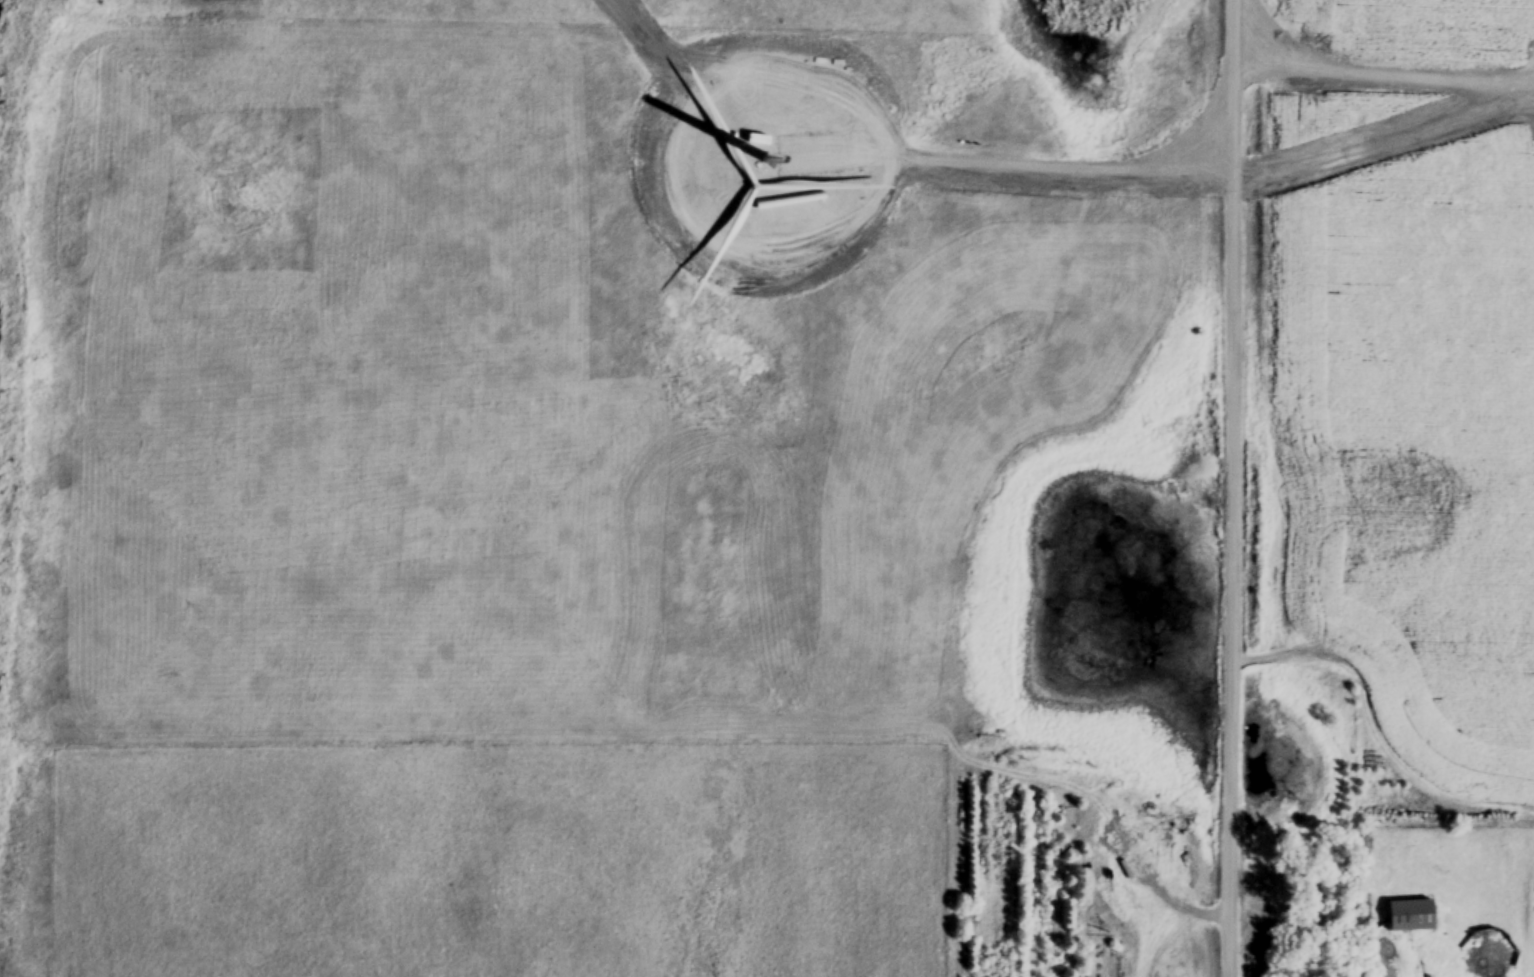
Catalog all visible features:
wind turbine: (763, 161)
road: (1234, 488)
building: (1147, 863)
building: (1412, 917)

